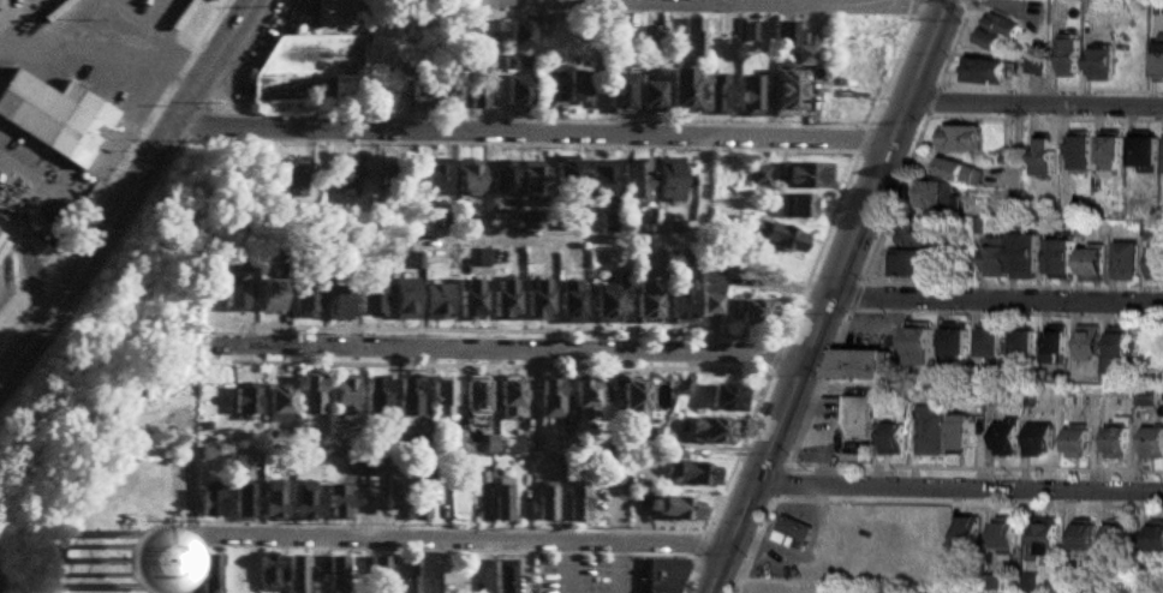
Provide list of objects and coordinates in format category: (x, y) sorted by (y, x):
building: (209, 0)
road: (517, 1)
road: (718, 2)
road: (762, 2)
road: (736, 5)
building: (996, 31)
building: (517, 36)
building: (692, 38)
building: (791, 44)
building: (1068, 56)
building: (316, 60)
building: (1158, 60)
road: (127, 62)
building: (509, 62)
building: (1099, 64)
building: (1034, 65)
building: (984, 71)
building: (579, 88)
building: (681, 90)
building: (446, 91)
building: (476, 92)
building: (619, 92)
building: (416, 94)
building: (514, 94)
building: (715, 95)
building: (786, 95)
building: (649, 97)
building: (747, 97)
road: (1036, 106)
building: (52, 118)
road: (531, 136)
building: (959, 138)
building: (1144, 150)
building: (1078, 154)
building: (1110, 155)
building: (1044, 157)
building: (728, 172)
building: (958, 172)
building: (757, 176)
building: (342, 178)
building: (433, 178)
building: (805, 178)
building: (394, 179)
building: (531, 179)
building: (466, 180)
building: (500, 180)
building: (566, 180)
building: (668, 180)
building: (601, 181)
building: (634, 181)
building: (291, 184)
road: (129, 194)
building: (934, 194)
building: (798, 208)
building: (530, 221)
building: (911, 233)
building: (775, 238)
road: (634, 240)
building: (994, 256)
building: (1024, 256)
building: (1058, 259)
building: (1126, 260)
building: (1155, 262)
building: (914, 264)
building: (1090, 264)
building: (710, 281)
road: (830, 296)
building: (231, 298)
building: (268, 298)
building: (370, 299)
building: (303, 300)
building: (404, 300)
building: (469, 300)
building: (502, 300)
building: (536, 300)
building: (645, 301)
building: (679, 301)
road: (996, 301)
building: (435, 303)
building: (568, 303)
building: (709, 305)
building: (335, 306)
building: (604, 307)
building: (755, 313)
building: (954, 342)
building: (988, 343)
building: (1021, 343)
building: (1089, 343)
building: (1120, 345)
road: (490, 347)
building: (918, 347)
building: (1055, 347)
building: (859, 364)
building: (342, 396)
building: (475, 396)
building: (309, 397)
building: (407, 397)
building: (375, 399)
building: (442, 399)
building: (509, 399)
building: (550, 399)
building: (584, 399)
building: (727, 400)
building: (243, 403)
building: (632, 403)
building: (275, 407)
building: (858, 415)
building: (712, 432)
building: (930, 432)
building: (956, 432)
building: (893, 438)
building: (1003, 438)
building: (1038, 439)
building: (451, 442)
building: (1114, 442)
building: (1075, 443)
building: (1151, 443)
park: (37, 454)
building: (372, 463)
building: (693, 475)
road: (185, 484)
road: (958, 490)
building: (393, 495)
building: (417, 499)
building: (239, 501)
building: (270, 502)
building: (302, 502)
building: (207, 503)
building: (335, 503)
building: (501, 504)
building: (544, 505)
building: (575, 505)
building: (675, 510)
building: (793, 526)
building: (967, 529)
building: (1004, 533)
building: (1083, 534)
building: (1117, 534)
building: (1155, 535)
building: (1044, 539)
road: (466, 540)
road: (193, 562)
building: (120, 567)
water tower: (120, 571)
building: (209, 573)
building: (264, 573)
building: (294, 573)
building: (335, 574)
building: (378, 574)
building: (422, 574)
building: (661, 574)
building: (501, 575)
building: (779, 586)
building: (1021, 591)

